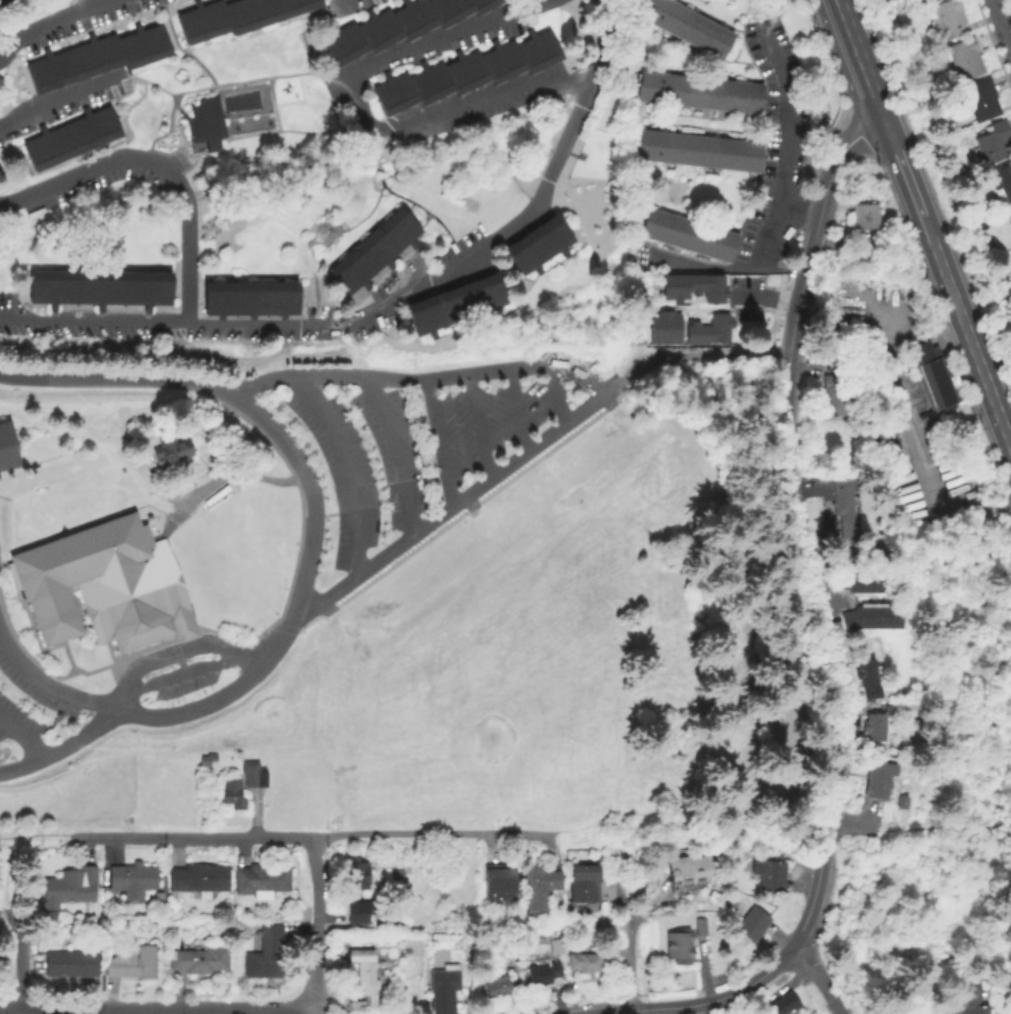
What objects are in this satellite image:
road: (0, 0)
building: (929, 0)
road: (837, 2)
road: (529, 3)
building: (238, 17)
building: (950, 20)
road: (1002, 20)
road: (47, 22)
building: (397, 26)
building: (686, 27)
road: (181, 48)
building: (99, 58)
building: (965, 60)
road: (860, 61)
building: (468, 72)
road: (149, 82)
road: (226, 84)
building: (701, 93)
road: (57, 99)
building: (981, 101)
road: (273, 104)
road: (361, 111)
building: (207, 123)
road: (264, 132)
building: (71, 139)
road: (372, 143)
building: (995, 145)
building: (699, 152)
road: (830, 162)
road: (160, 164)
road: (901, 168)
road: (379, 170)
building: (1001, 184)
building: (663, 190)
road: (782, 198)
road: (799, 209)
road: (428, 212)
building: (1010, 213)
road: (368, 215)
building: (865, 219)
road: (924, 229)
road: (339, 235)
building: (689, 236)
building: (543, 246)
building: (376, 253)
road: (313, 281)
building: (691, 286)
building: (100, 289)
building: (252, 300)
road: (392, 301)
building: (458, 306)
road: (906, 323)
building: (662, 326)
building: (708, 329)
road: (969, 346)
road: (686, 353)
road: (594, 388)
road: (554, 396)
building: (837, 397)
building: (934, 397)
park: (81, 408)
road: (515, 412)
road: (478, 427)
road: (436, 444)
building: (8, 447)
building: (171, 450)
road: (396, 451)
road: (913, 453)
road: (344, 465)
building: (844, 510)
building: (858, 523)
road: (795, 533)
road: (310, 550)
building: (848, 580)
building: (876, 581)
building: (105, 587)
road: (988, 611)
building: (889, 618)
building: (859, 619)
road: (176, 650)
park: (527, 659)
road: (184, 672)
building: (867, 674)
road: (52, 689)
building: (875, 729)
building: (786, 731)
road: (24, 736)
building: (207, 762)
building: (252, 775)
building: (880, 780)
building: (232, 796)
road: (627, 816)
road: (723, 819)
road: (850, 824)
road: (998, 826)
road: (883, 829)
road: (436, 834)
road: (40, 835)
road: (578, 836)
road: (195, 838)
road: (3, 840)
road: (643, 858)
road: (967, 865)
building: (689, 872)
building: (357, 874)
building: (769, 875)
road: (7, 876)
road: (878, 877)
building: (131, 880)
building: (197, 880)
building: (395, 880)
building: (260, 882)
building: (500, 883)
building: (585, 885)
building: (540, 886)
building: (69, 887)
road: (811, 890)
road: (921, 896)
building: (158, 900)
building: (357, 909)
road: (5, 914)
building: (48, 916)
building: (375, 922)
building: (752, 923)
road: (316, 925)
building: (700, 928)
road: (808, 941)
building: (409, 942)
building: (679, 946)
building: (266, 955)
road: (629, 955)
road: (20, 961)
building: (582, 961)
building: (200, 962)
building: (498, 964)
building: (71, 965)
building: (132, 965)
building: (364, 973)
road: (818, 975)
building: (545, 976)
building: (445, 989)
building: (498, 989)
road: (726, 993)
building: (968, 1001)
building: (785, 1006)
road: (699, 1008)
road: (11, 1009)
road: (637, 1009)
road: (169, 1011)
road: (646, 1011)
road: (617, 1012)
road: (316, 1013)

